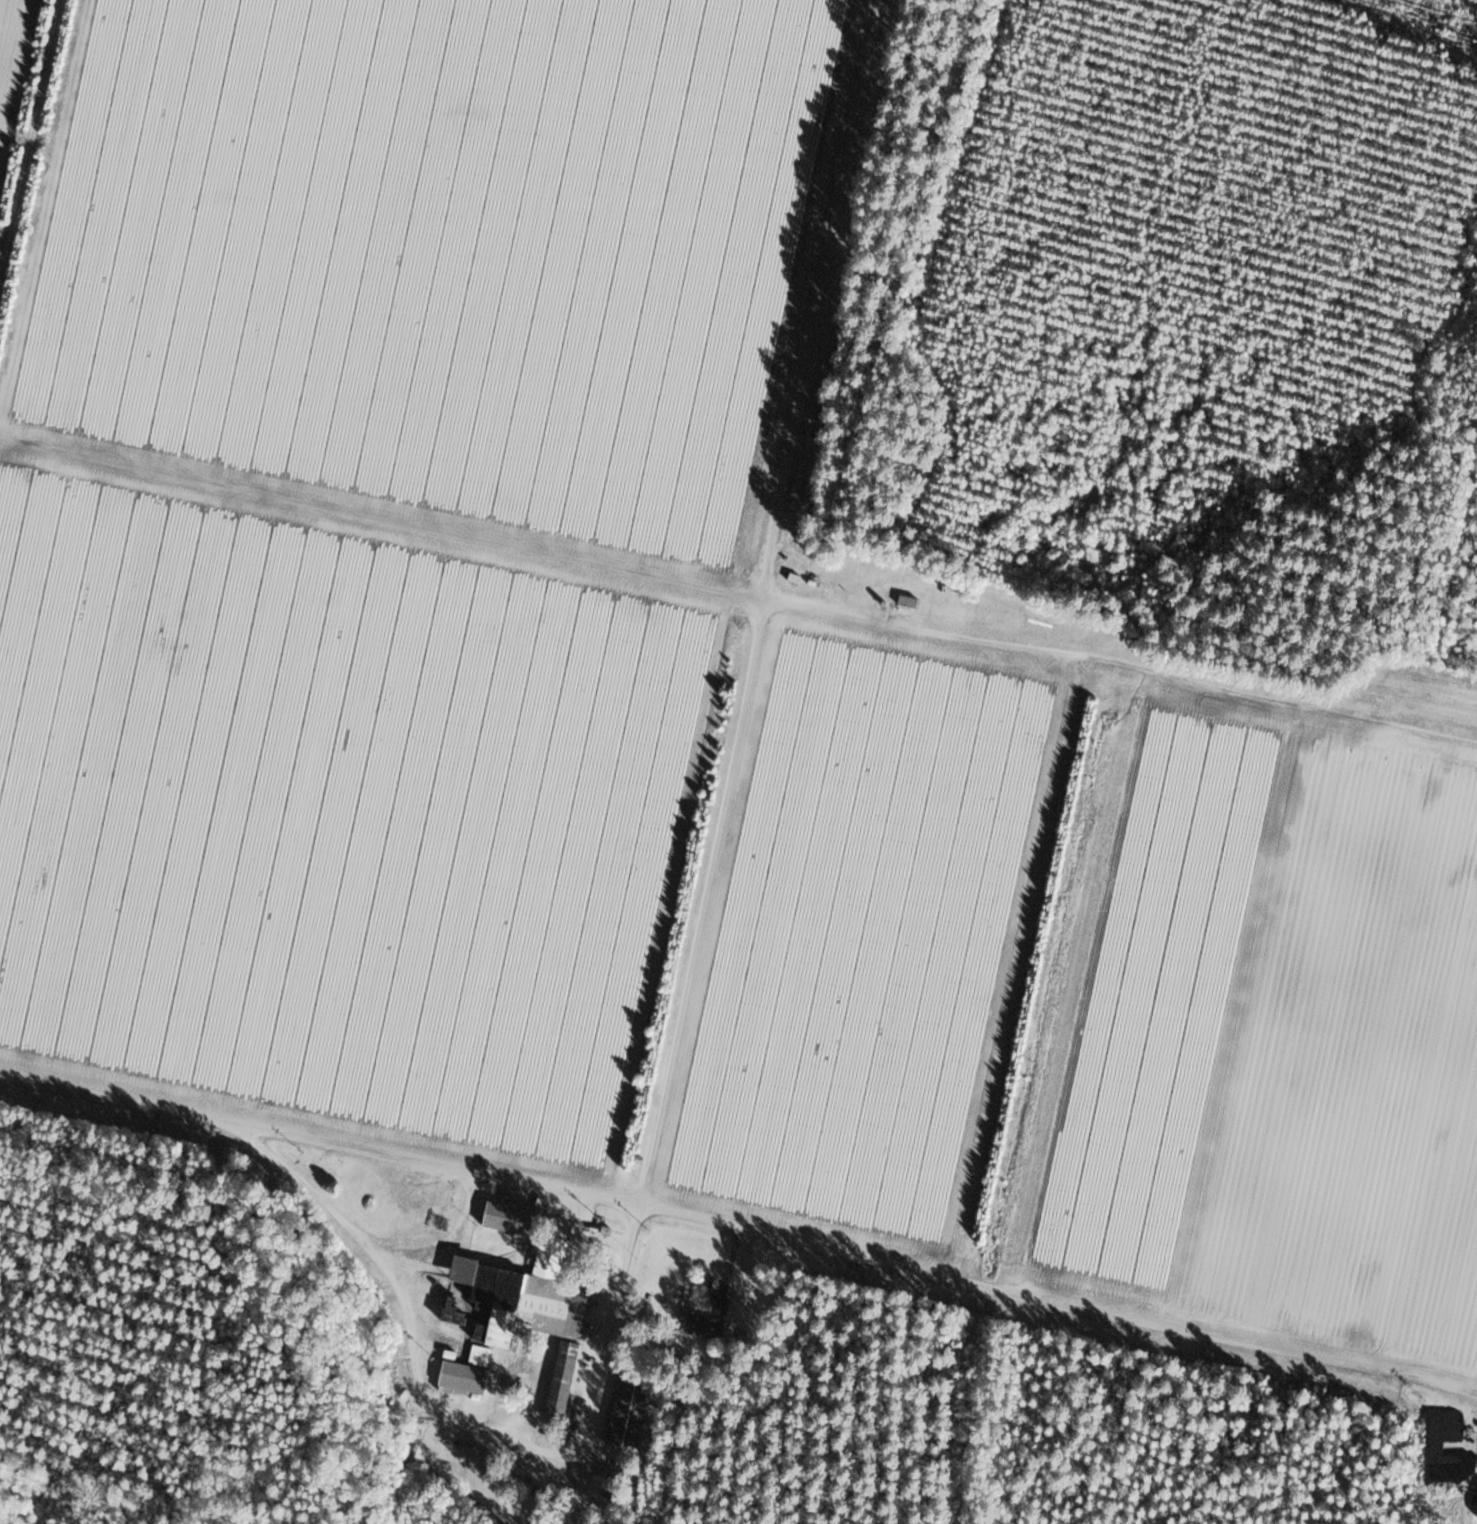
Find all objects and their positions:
building: (758, 527)
building: (908, 601)
building: (513, 1217)
road: (739, 1224)
building: (719, 1303)
building: (534, 1308)
building: (706, 1326)
building: (465, 1378)
road: (442, 1410)
building: (631, 1414)

